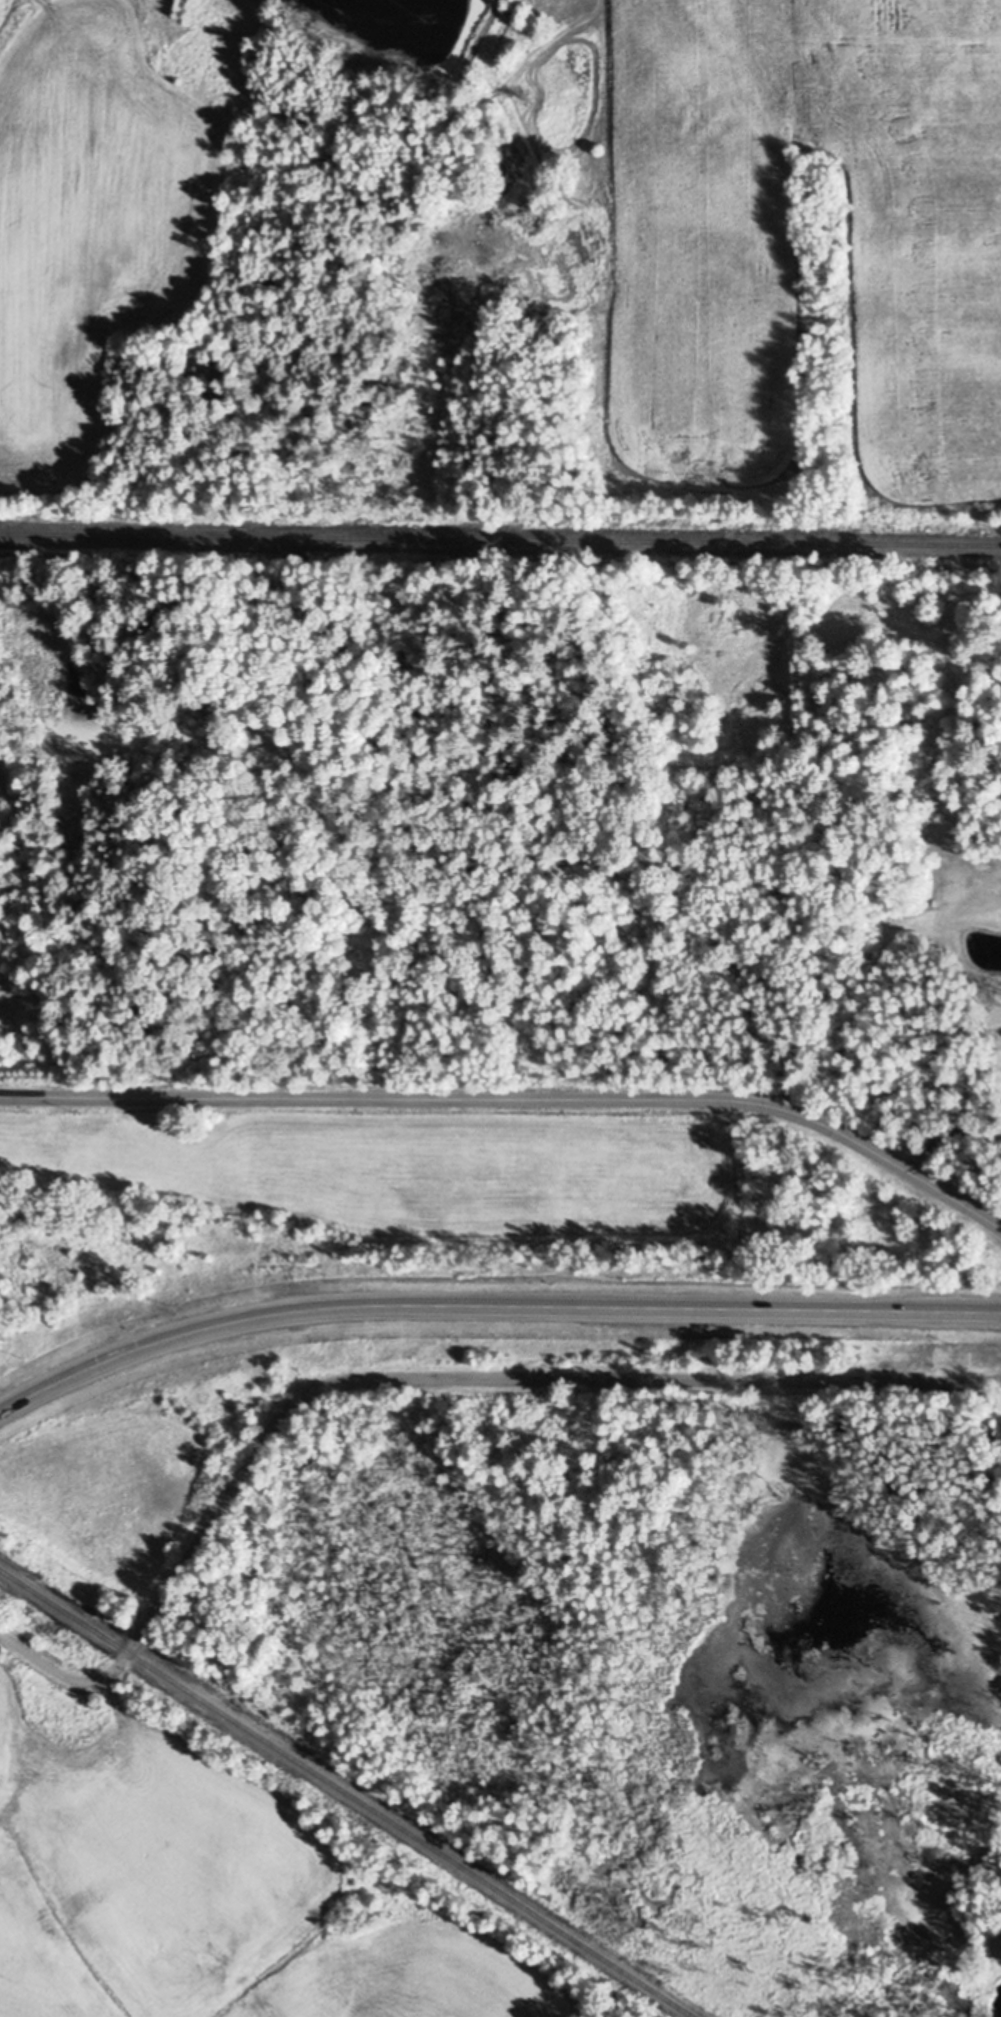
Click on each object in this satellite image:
railway: (500, 539)
road: (516, 1096)
road: (946, 1131)
road: (490, 1307)
road: (417, 1378)
railway: (348, 1793)

